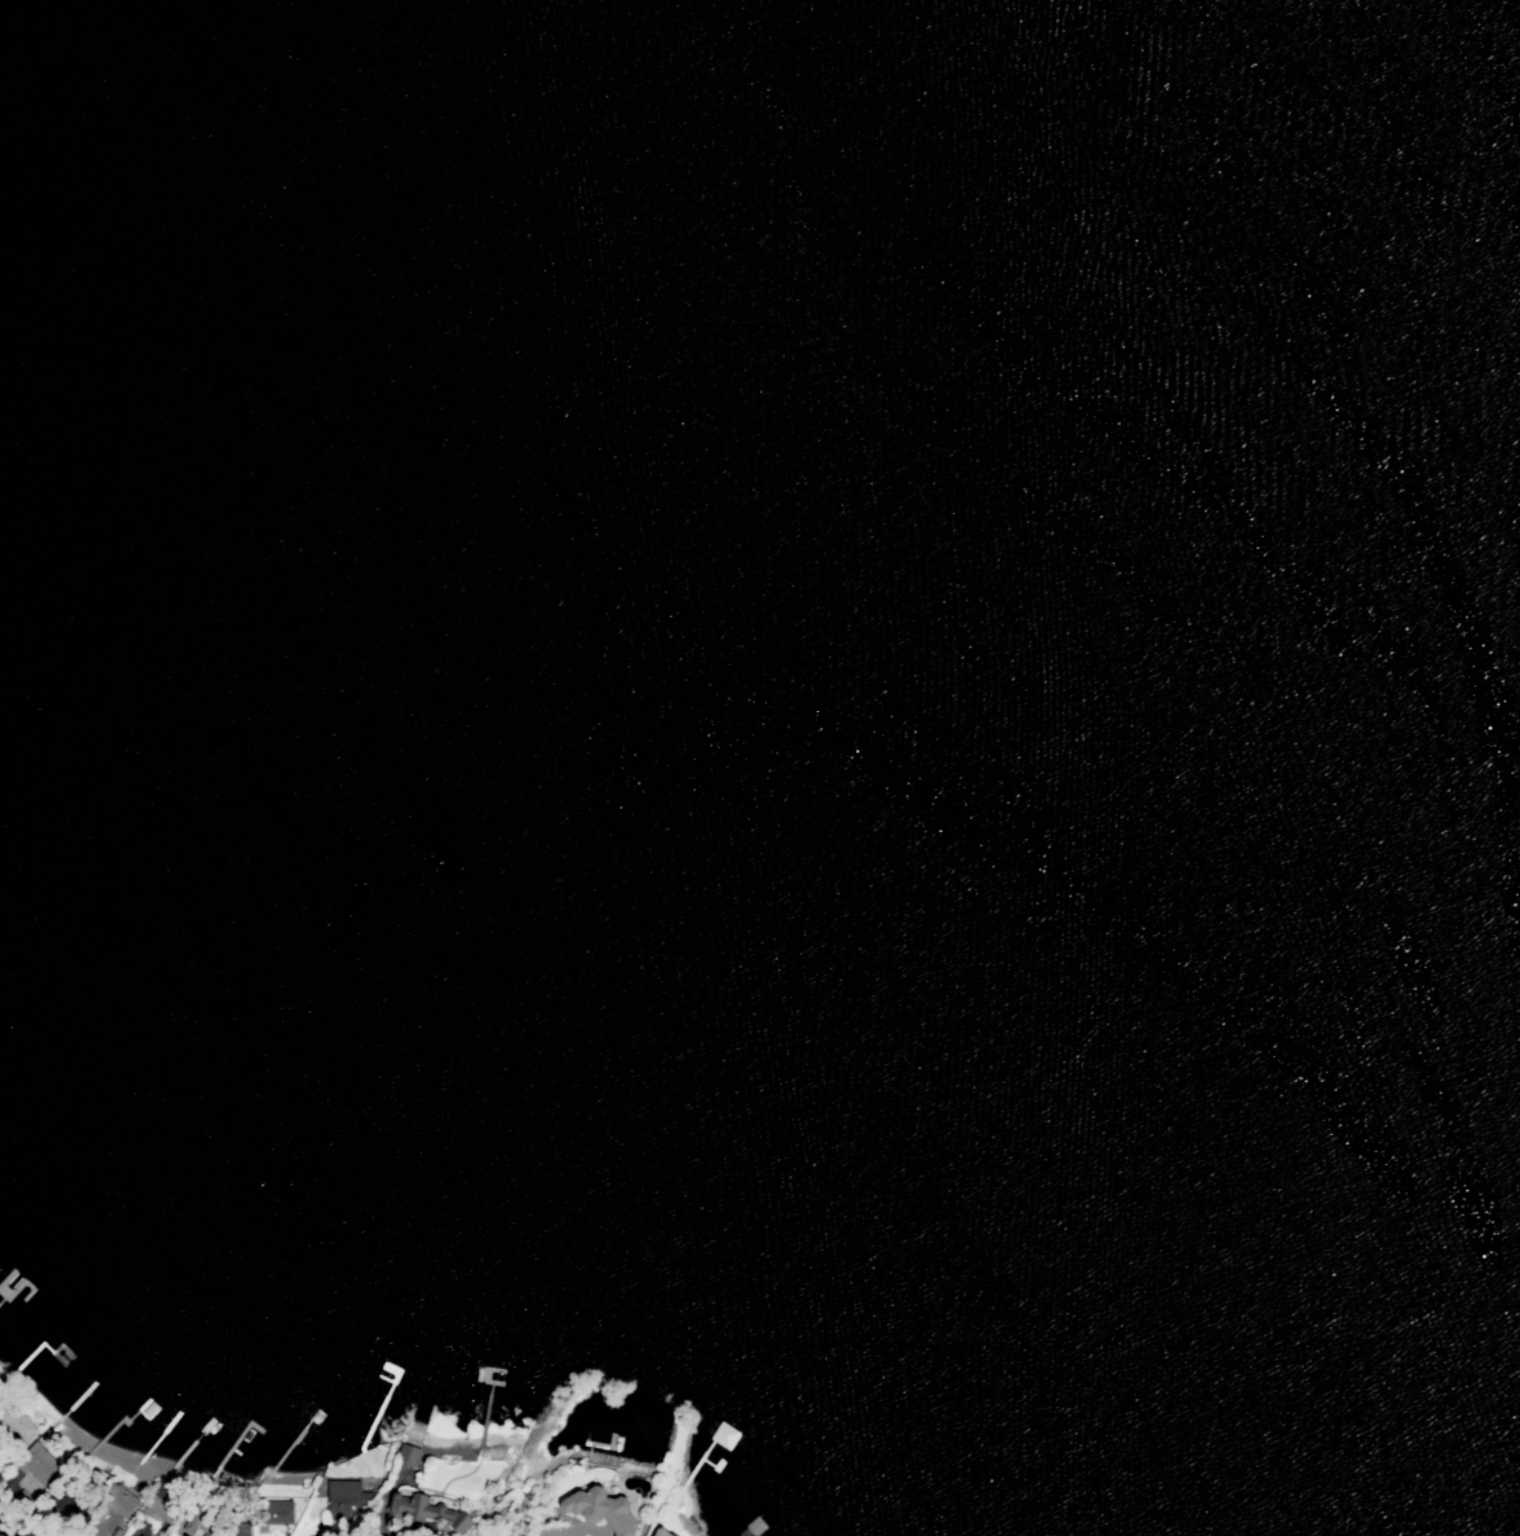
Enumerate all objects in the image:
building: (725, 1437)
building: (406, 1456)
building: (118, 1501)
building: (598, 1510)
building: (276, 1513)
building: (431, 1513)
road: (413, 1515)
building: (193, 1527)
building: (240, 1529)
road: (7, 1531)
building: (657, 1533)

